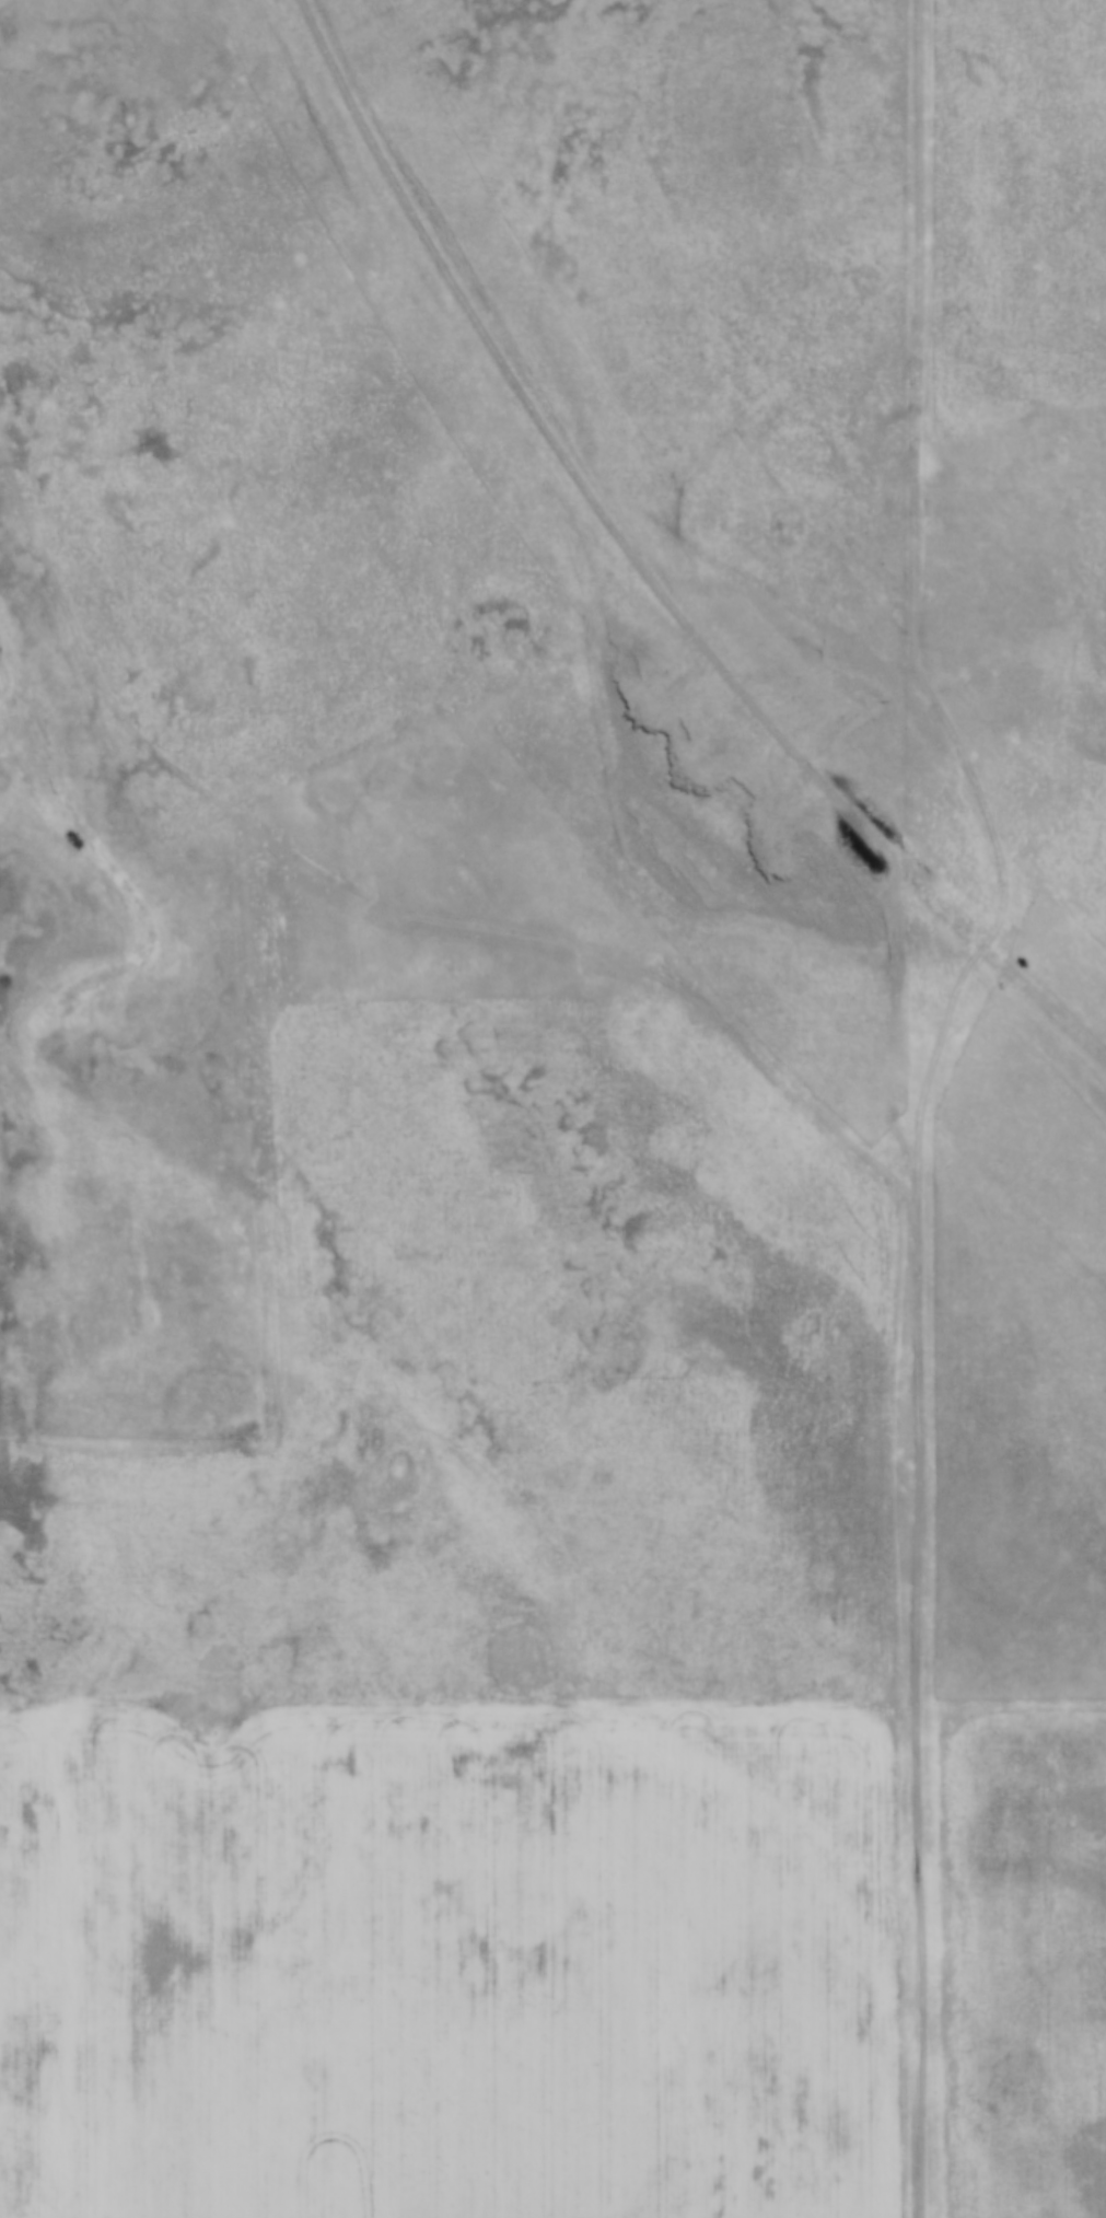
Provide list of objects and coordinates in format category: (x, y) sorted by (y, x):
road: (912, 1085)

